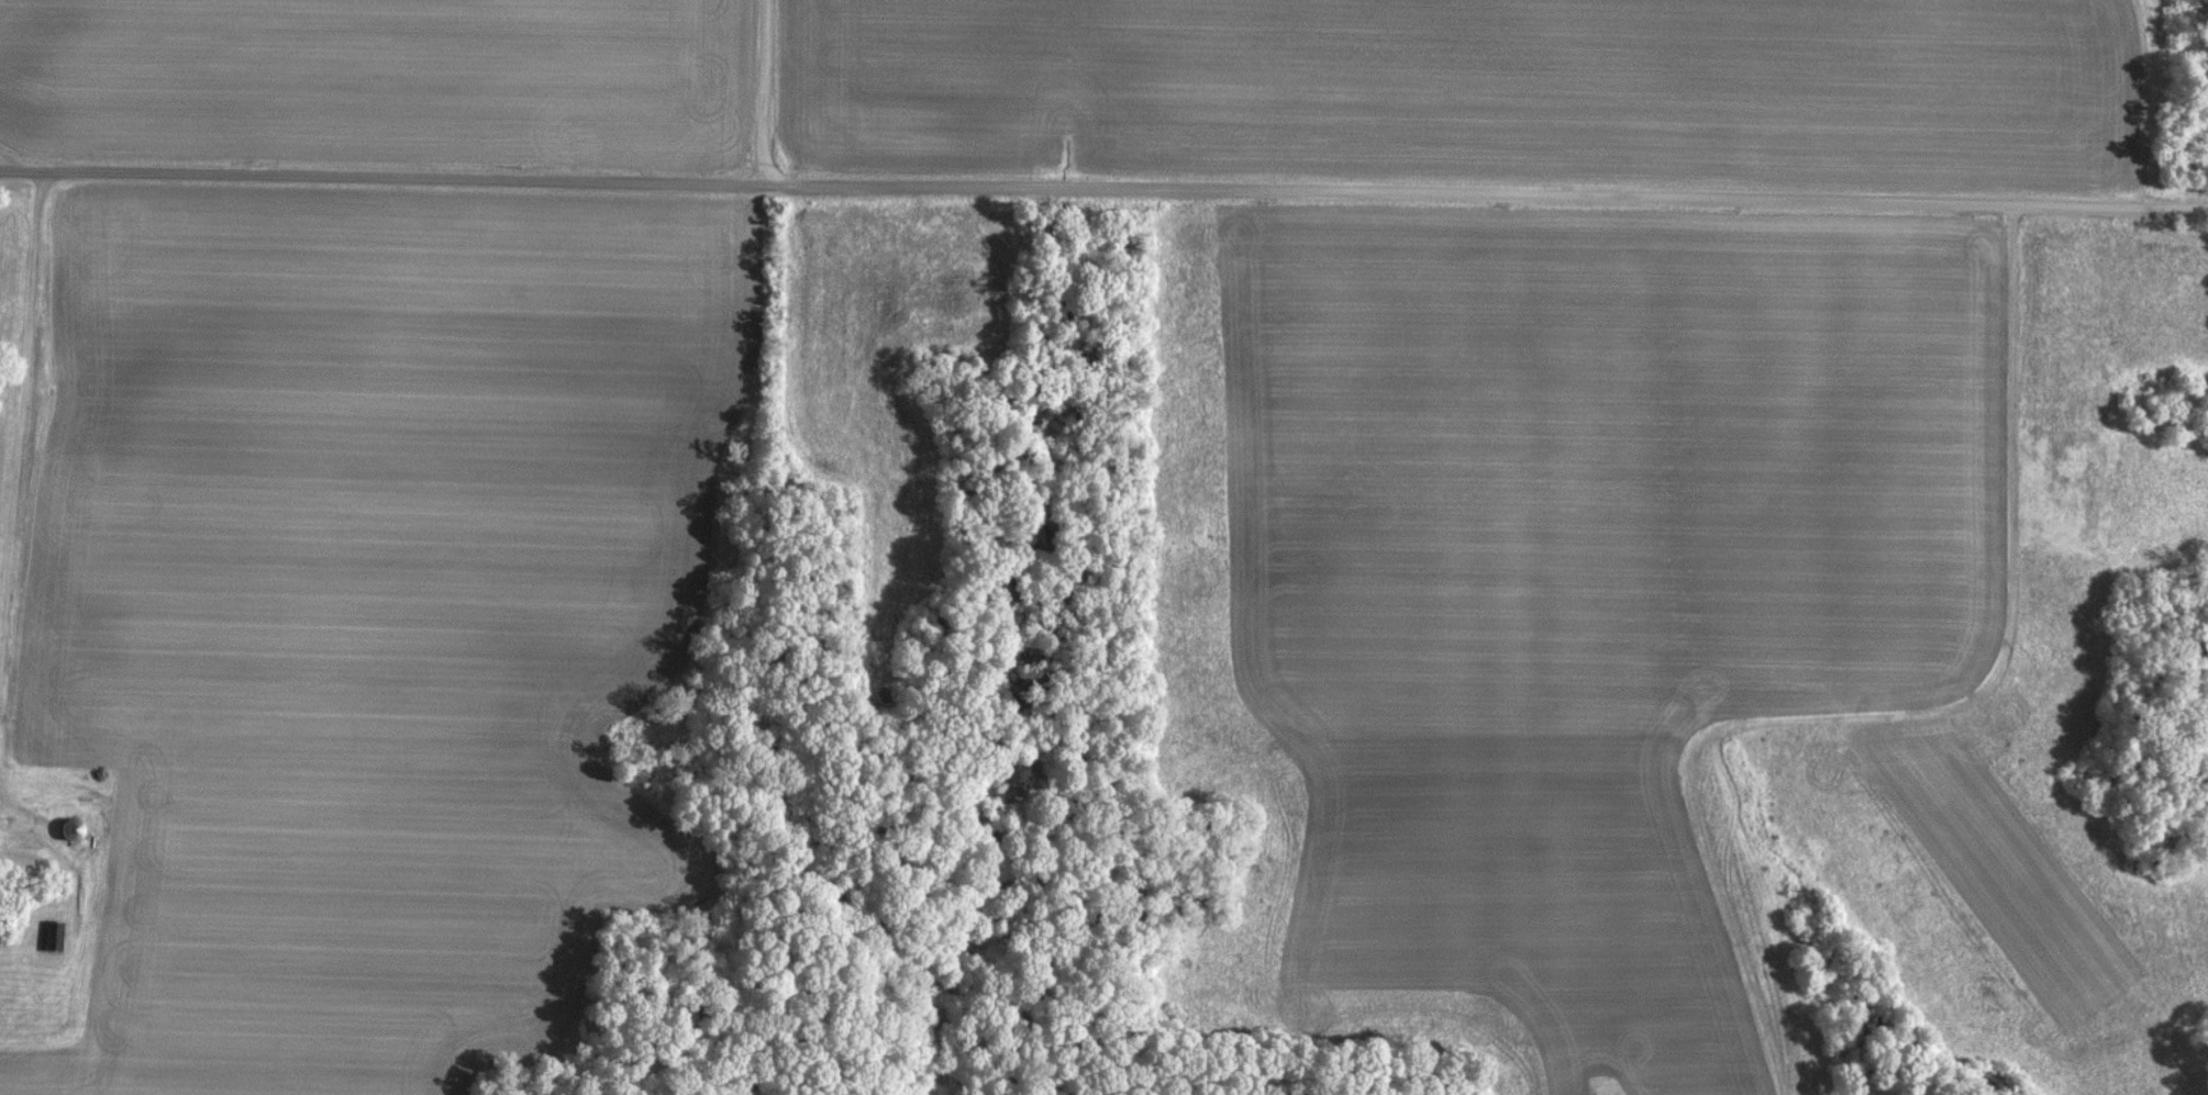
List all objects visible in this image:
road: (768, 89)
road: (1103, 183)
road: (24, 411)
road: (58, 830)

